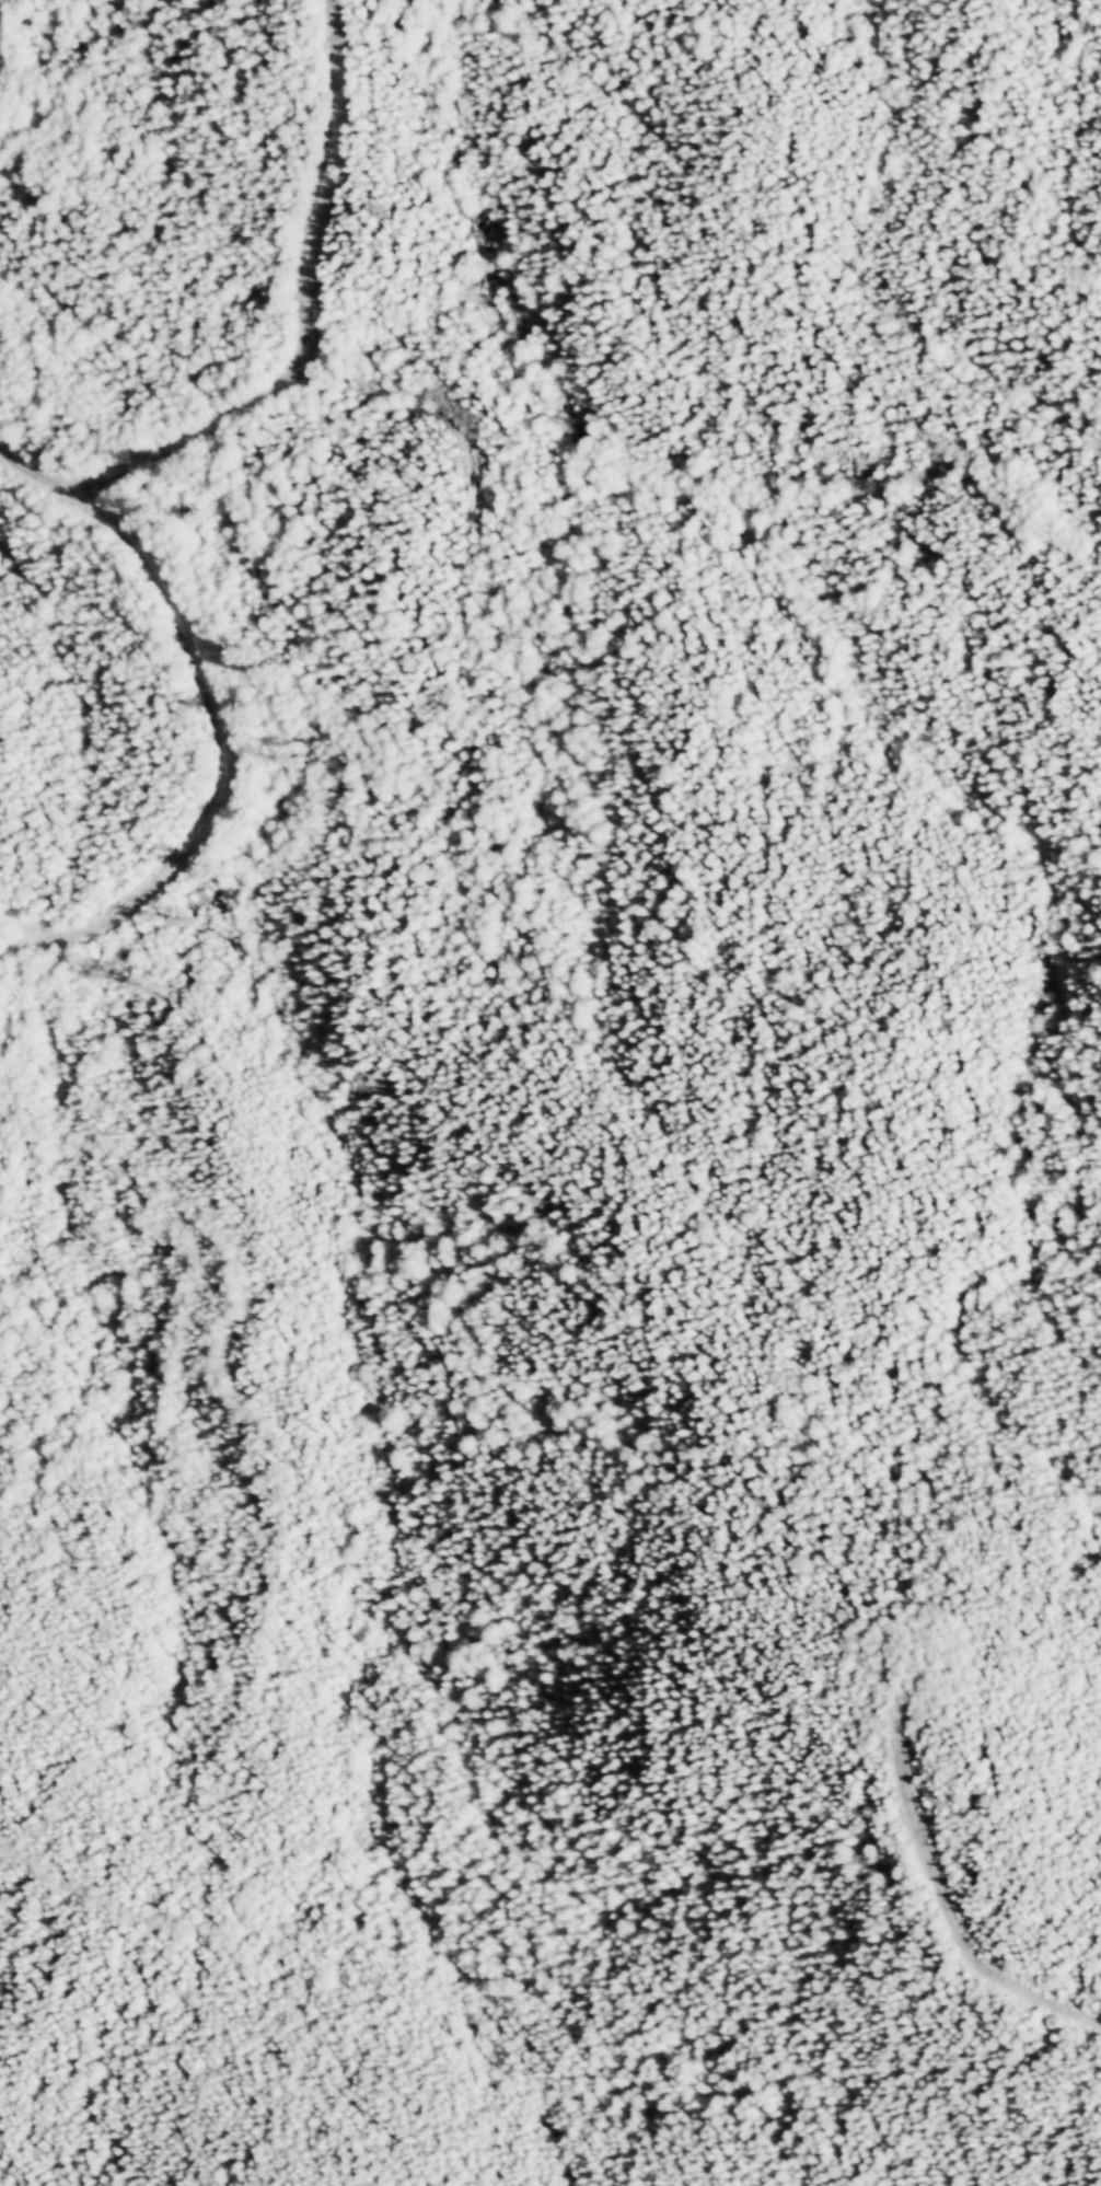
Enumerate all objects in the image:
road: (615, 506)

